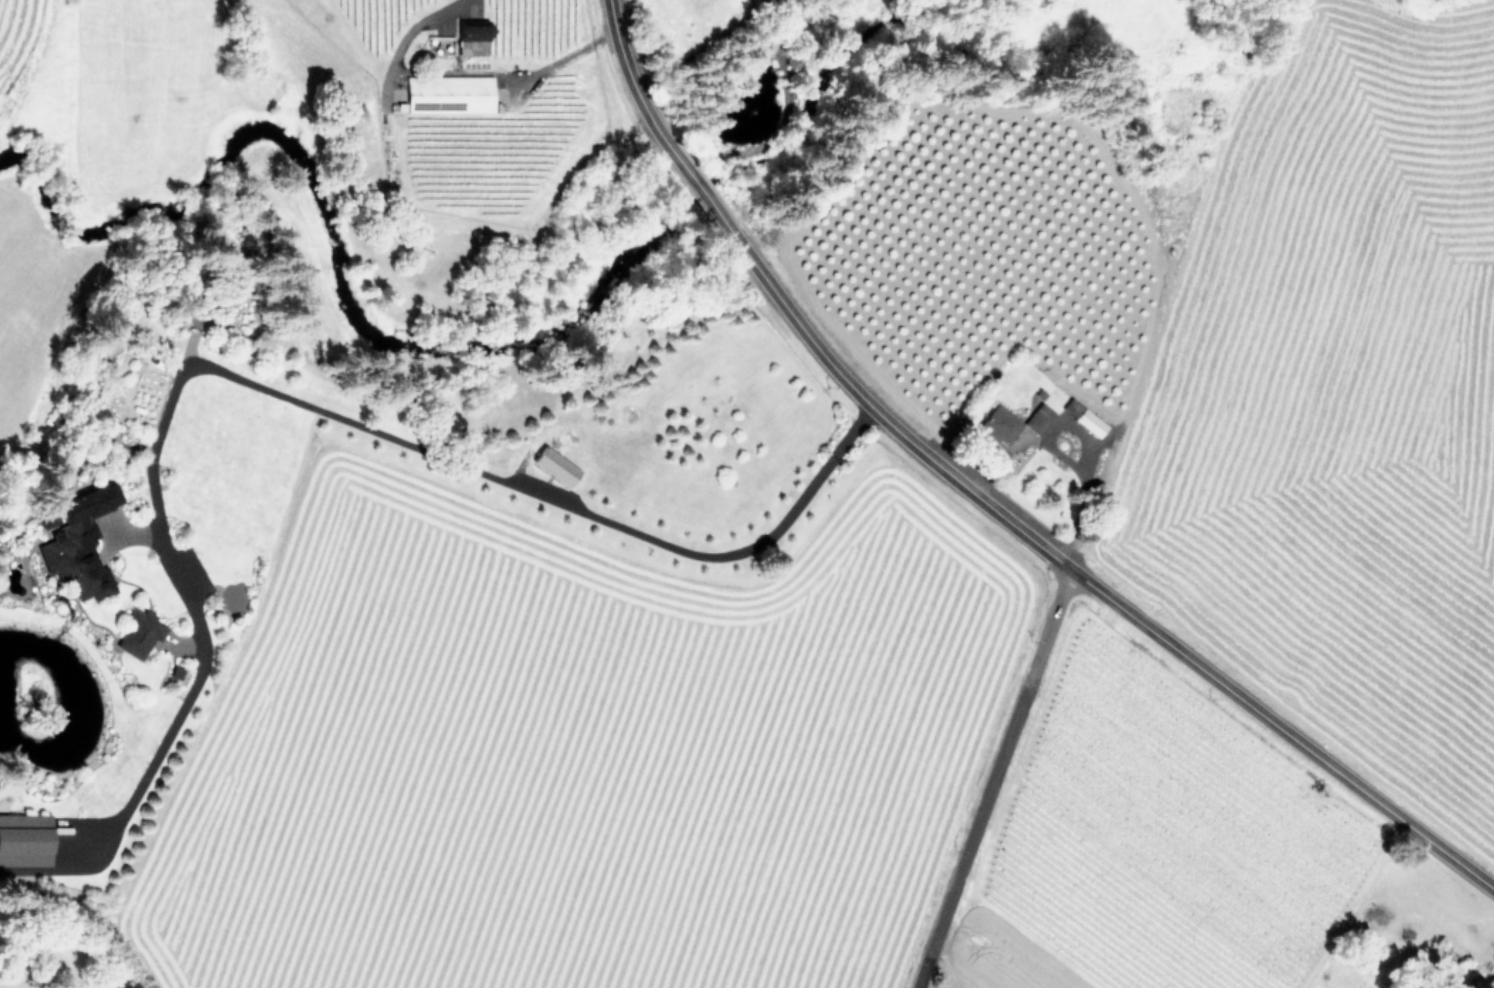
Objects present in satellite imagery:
crop: (7, 7)
building: (472, 38)
road: (592, 40)
road: (433, 71)
road: (628, 75)
building: (449, 93)
road: (700, 194)
river: (473, 329)
crop: (1234, 356)
building: (1072, 406)
building: (1038, 417)
building: (1089, 422)
building: (999, 424)
road: (1071, 460)
building: (554, 465)
road: (471, 469)
building: (76, 541)
road: (1094, 588)
building: (139, 633)
road: (191, 685)
road: (991, 778)
building: (23, 839)

